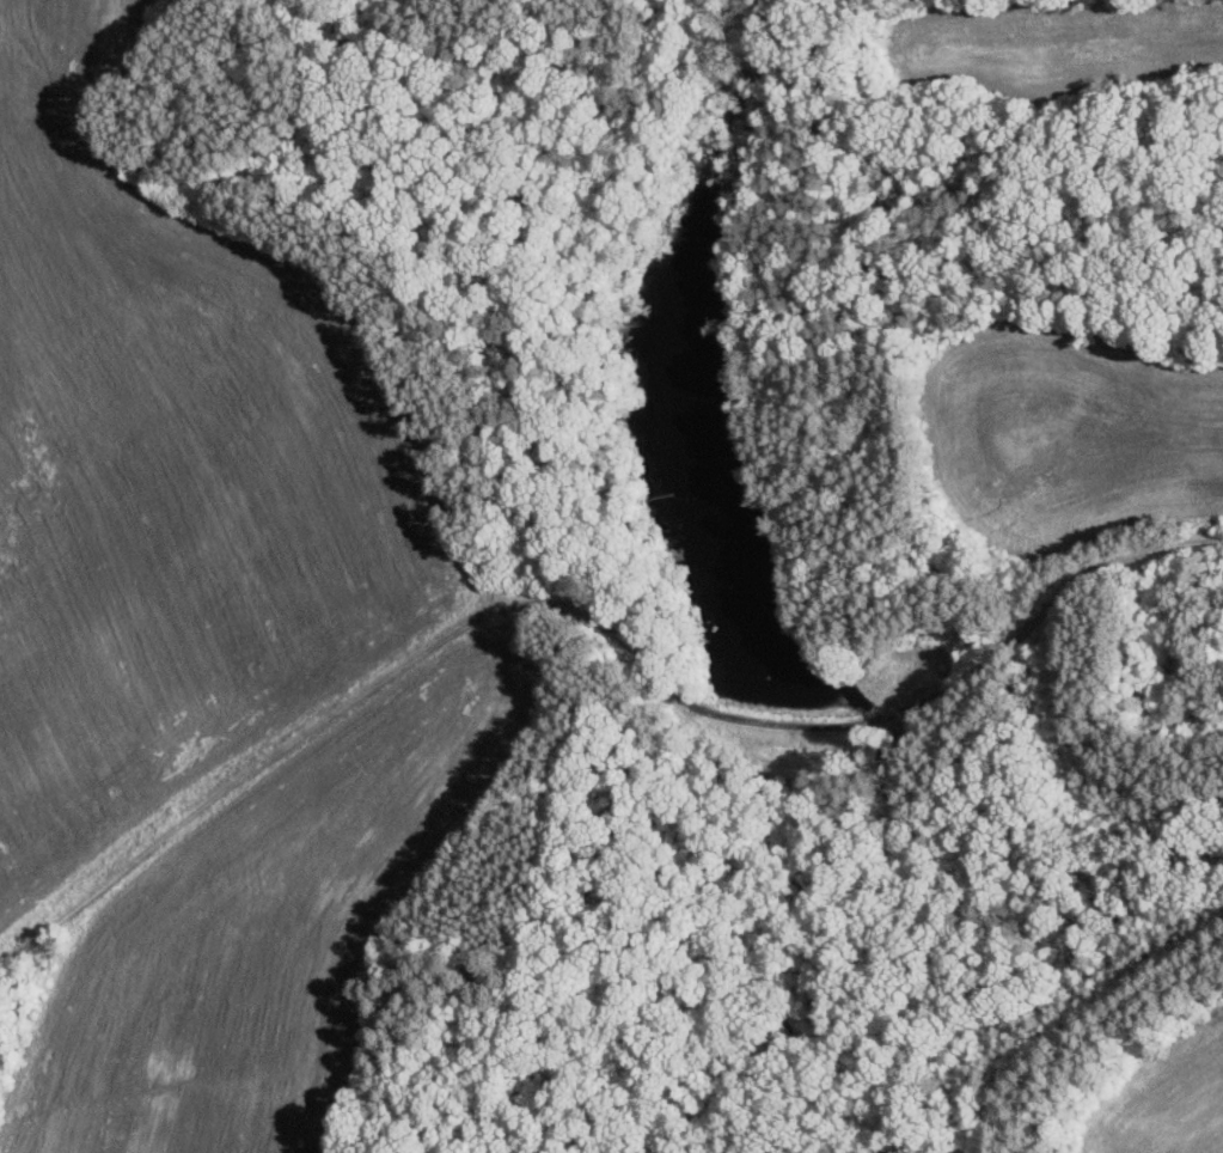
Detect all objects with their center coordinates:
road: (589, 630)

